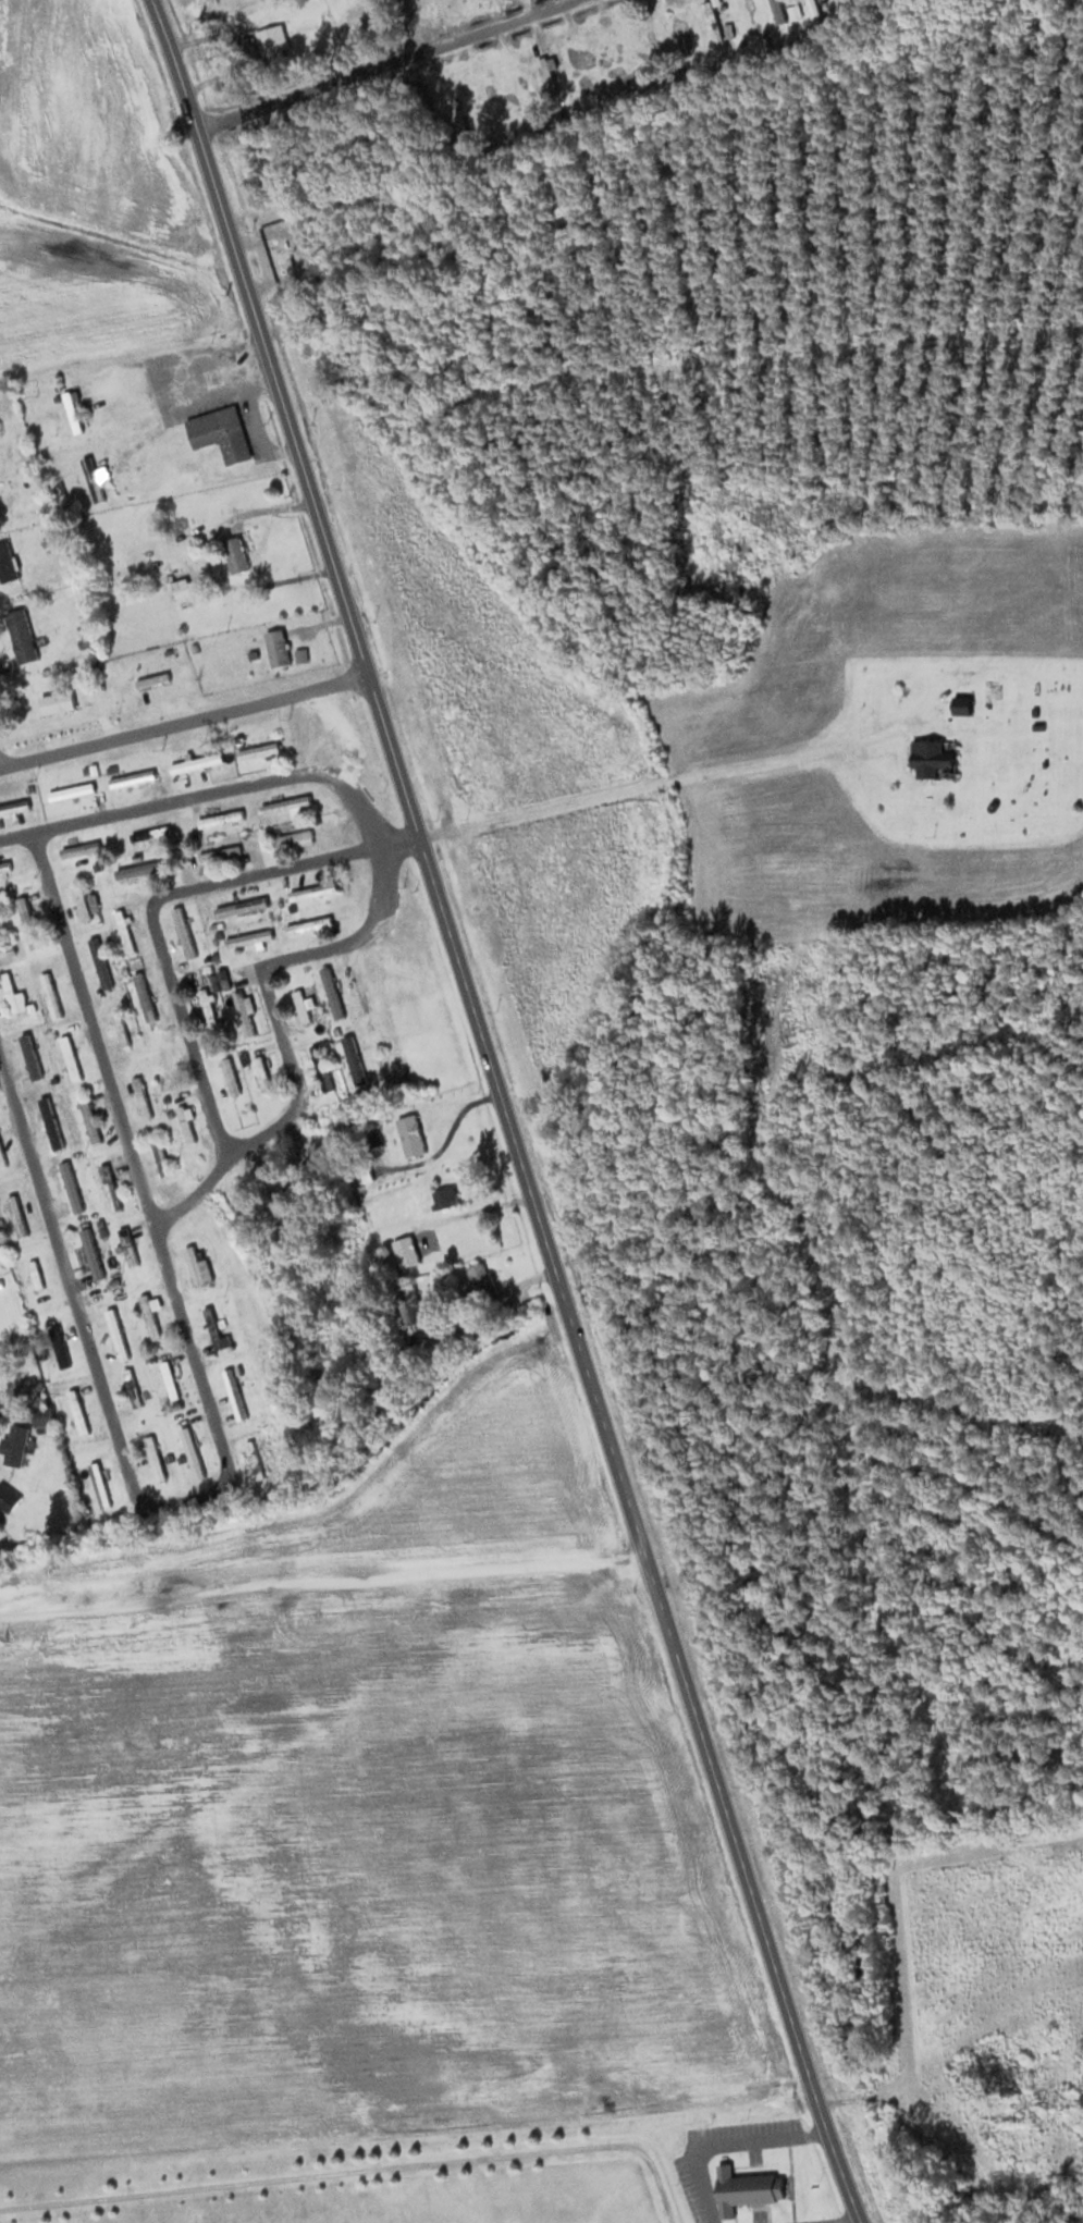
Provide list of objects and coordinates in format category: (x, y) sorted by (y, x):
building: (812, 9)
building: (776, 11)
building: (712, 23)
building: (270, 37)
building: (643, 41)
building: (612, 54)
building: (579, 60)
road: (402, 75)
building: (546, 75)
building: (219, 432)
building: (91, 479)
building: (234, 554)
building: (180, 586)
building: (20, 635)
building: (276, 647)
building: (54, 702)
building: (961, 704)
road: (182, 722)
building: (257, 749)
road: (784, 756)
building: (931, 758)
building: (131, 776)
road: (659, 779)
road: (225, 786)
building: (70, 790)
building: (284, 802)
road: (528, 810)
building: (220, 816)
building: (149, 832)
road: (15, 835)
building: (293, 836)
building: (86, 846)
building: (221, 848)
building: (3, 863)
building: (141, 867)
road: (281, 870)
building: (312, 889)
building: (81, 901)
building: (241, 905)
building: (27, 921)
building: (309, 923)
building: (123, 930)
building: (184, 934)
building: (248, 936)
road: (359, 944)
building: (99, 961)
building: (216, 978)
building: (9, 991)
building: (50, 992)
building: (331, 992)
building: (144, 995)
road: (359, 996)
building: (300, 1005)
building: (207, 1006)
building: (243, 1008)
road: (91, 1025)
building: (120, 1029)
road: (187, 1033)
building: (28, 1053)
building: (69, 1057)
building: (353, 1058)
building: (165, 1063)
building: (320, 1067)
building: (260, 1071)
building: (229, 1074)
building: (179, 1093)
building: (140, 1096)
road: (506, 1110)
building: (88, 1118)
building: (185, 1120)
building: (50, 1121)
road: (279, 1122)
building: (410, 1134)
building: (159, 1156)
building: (1, 1158)
building: (365, 1172)
building: (70, 1186)
building: (109, 1186)
building: (443, 1195)
building: (249, 1198)
building: (15, 1214)
building: (126, 1245)
building: (90, 1252)
building: (404, 1252)
building: (195, 1263)
building: (34, 1273)
building: (481, 1275)
building: (148, 1315)
building: (212, 1326)
building: (57, 1347)
building: (169, 1378)
building: (26, 1386)
building: (131, 1387)
building: (233, 1393)
building: (41, 1420)
building: (14, 1446)
building: (189, 1447)
building: (153, 1457)
road: (123, 1459)
building: (253, 1459)
building: (98, 1484)
building: (7, 1498)
road: (321, 1583)
road: (360, 2167)
building: (747, 2188)

